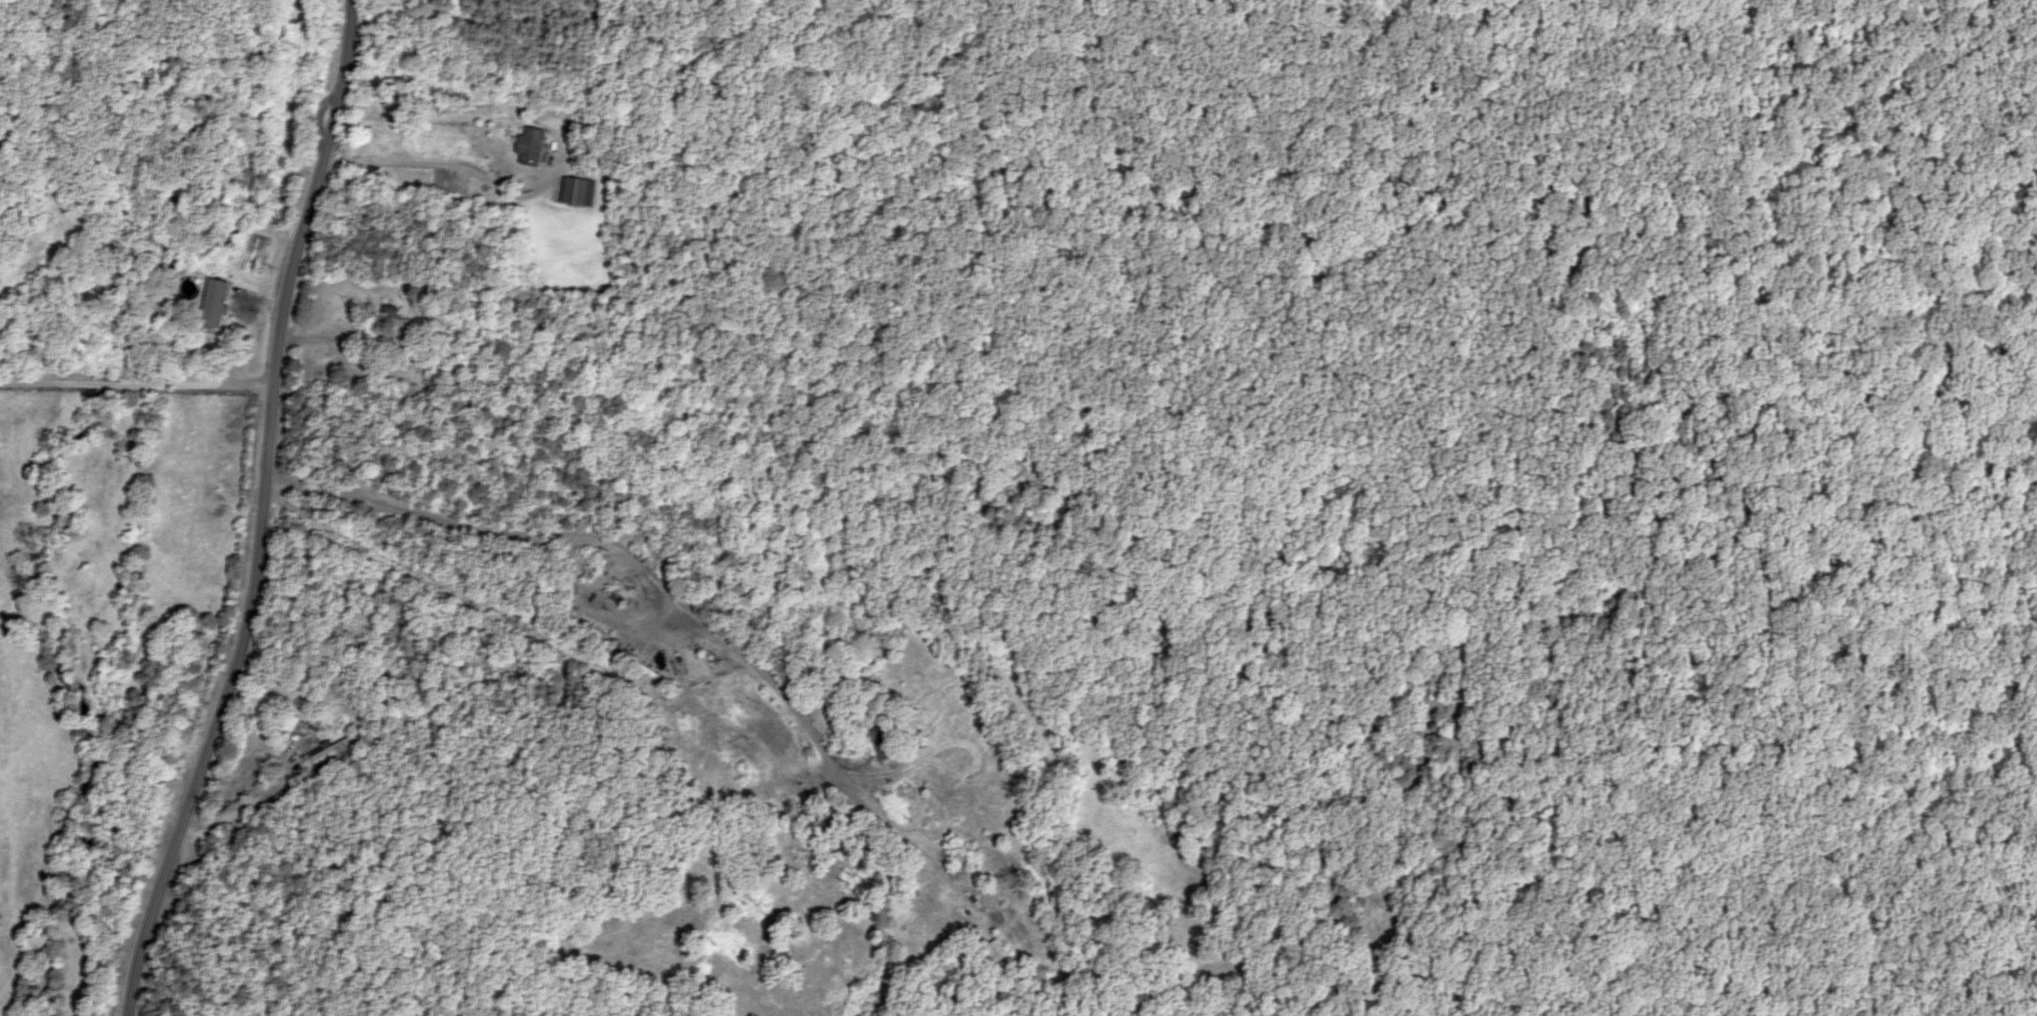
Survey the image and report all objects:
road: (171, 64)
road: (435, 82)
building: (533, 147)
building: (577, 191)
building: (215, 303)
building: (396, 319)
road: (460, 374)
road: (136, 386)
park: (1503, 393)
road: (411, 436)
road: (262, 512)
road: (1727, 514)
road: (544, 543)
building: (884, 743)
building: (338, 752)
building: (945, 879)
building: (1000, 951)

